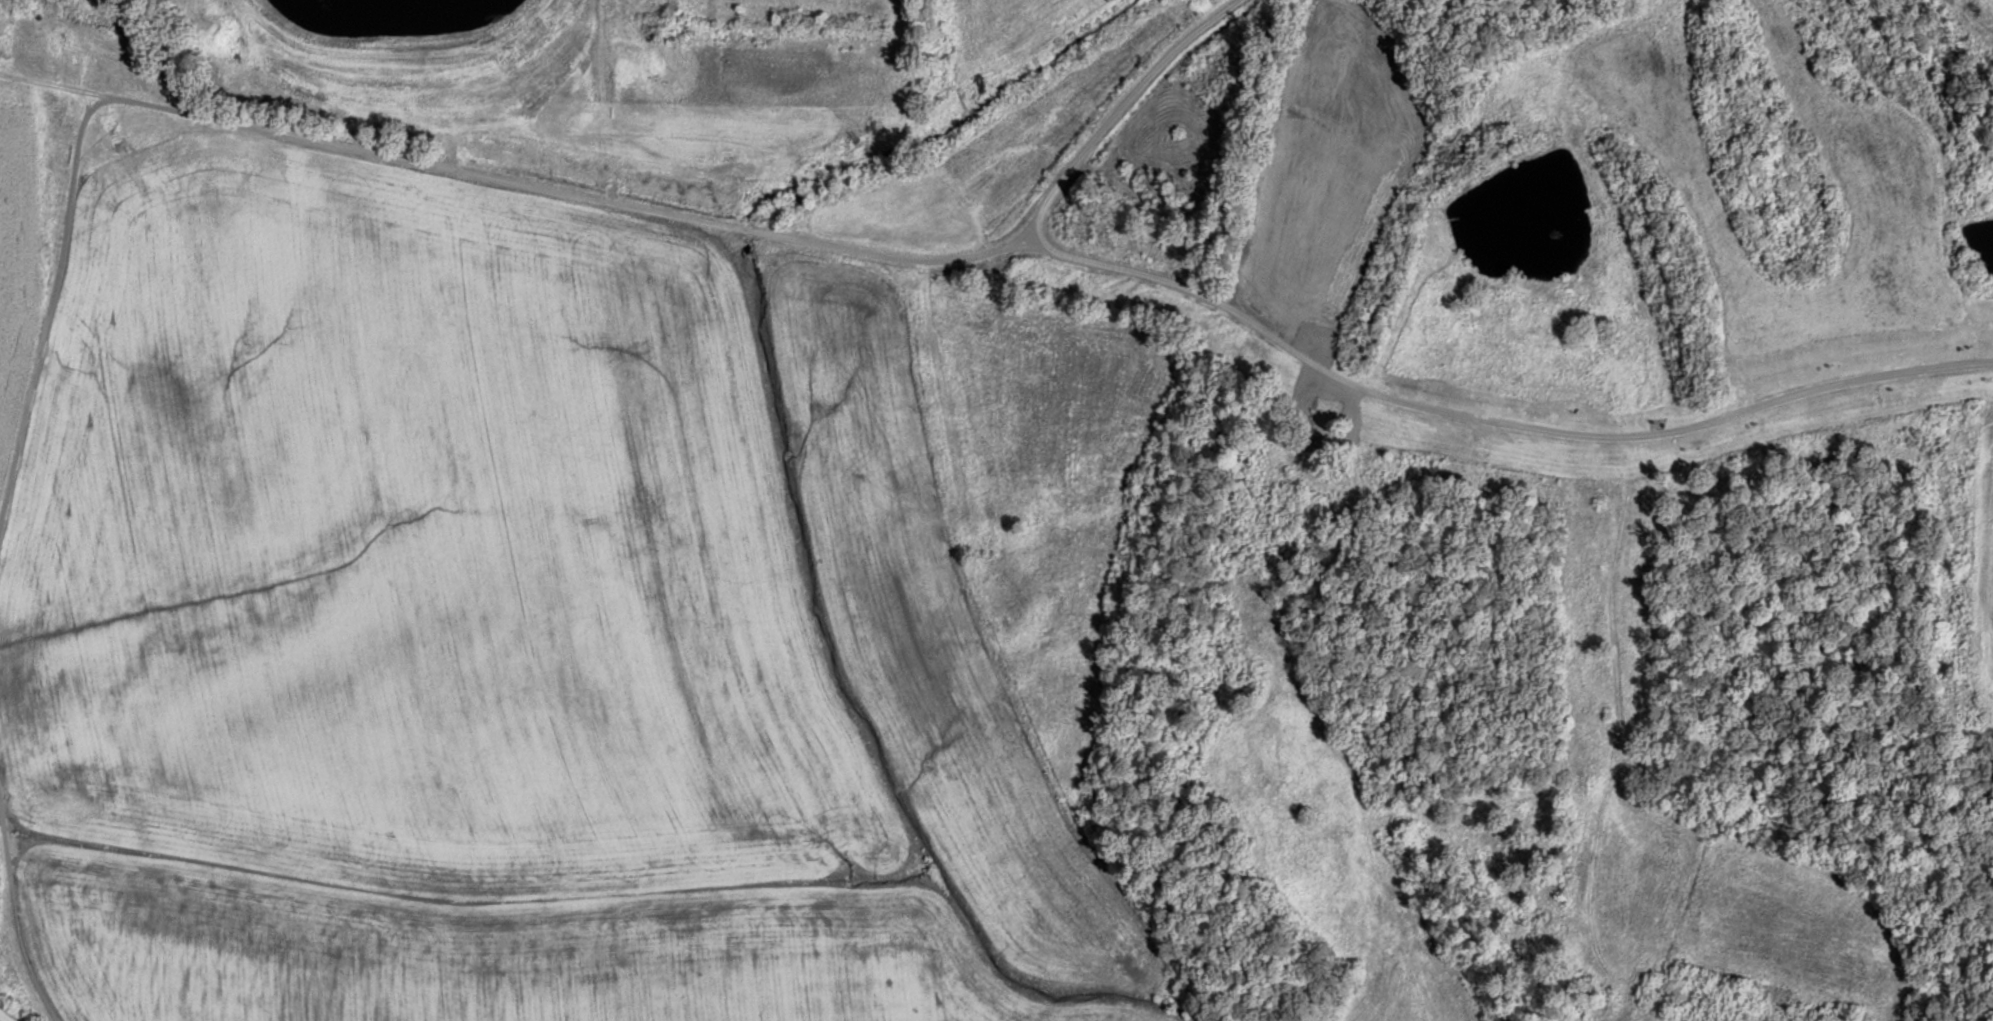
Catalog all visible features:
road: (717, 249)

